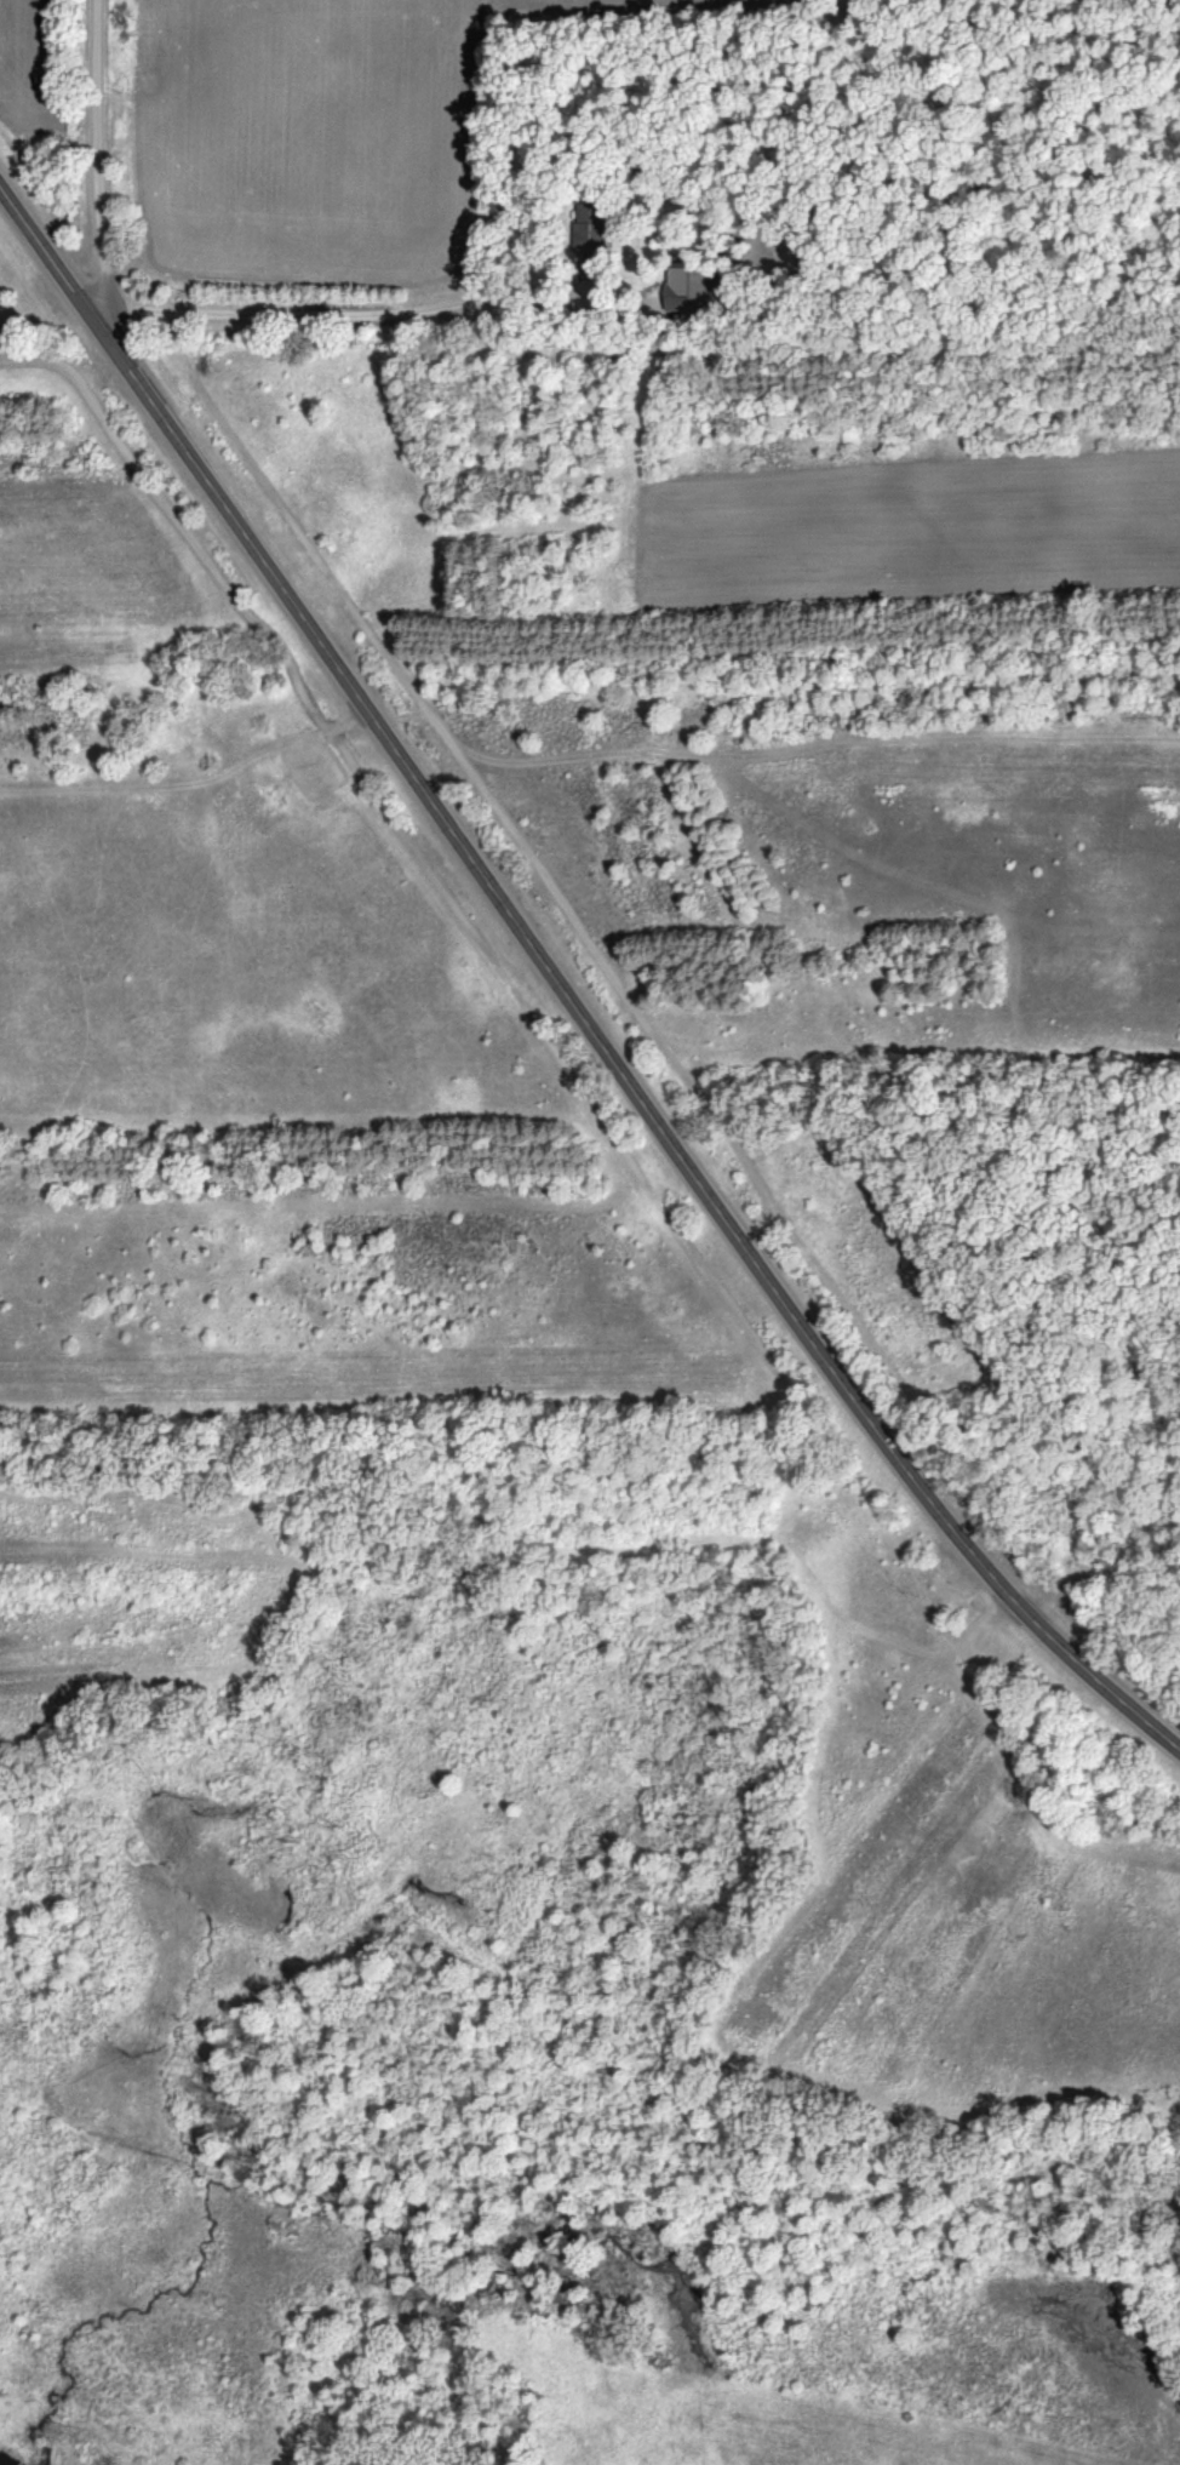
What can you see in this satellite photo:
crop: (44, 105)
road: (91, 154)
building: (594, 234)
building: (693, 282)
road: (566, 288)
road: (293, 307)
road: (566, 989)

